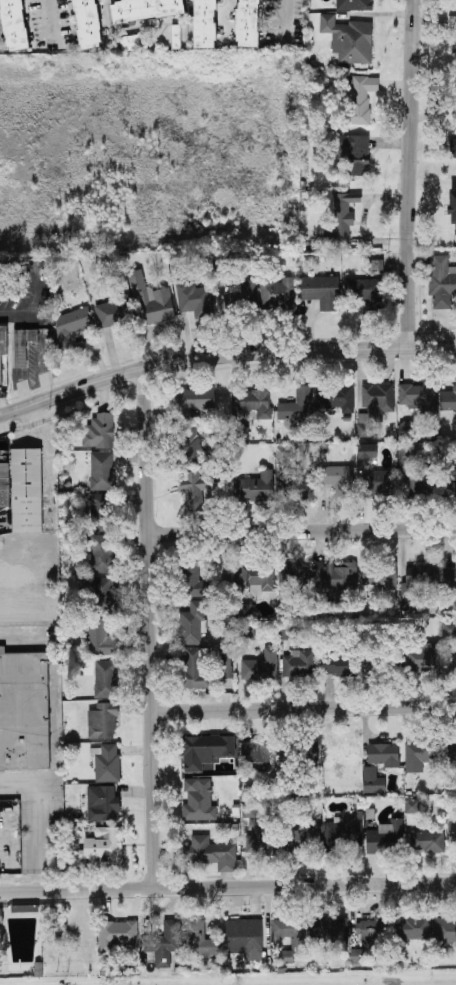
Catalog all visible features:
building: (354, 5)
building: (145, 10)
road: (51, 21)
road: (286, 21)
building: (248, 23)
building: (87, 24)
building: (204, 24)
building: (14, 25)
building: (349, 40)
building: (130, 43)
building: (454, 55)
building: (362, 98)
building: (455, 113)
building: (356, 153)
building: (455, 159)
road: (412, 175)
building: (340, 217)
building: (442, 282)
building: (372, 284)
building: (322, 292)
building: (278, 293)
building: (241, 294)
building: (152, 301)
building: (194, 301)
building: (114, 312)
road: (20, 314)
building: (71, 327)
building: (23, 346)
building: (3, 348)
road: (223, 356)
building: (335, 397)
building: (416, 397)
building: (196, 399)
building: (448, 400)
building: (254, 405)
building: (297, 405)
building: (374, 407)
building: (405, 430)
building: (98, 432)
building: (243, 434)
building: (191, 446)
building: (413, 449)
building: (367, 451)
building: (105, 469)
building: (4, 479)
building: (338, 480)
building: (416, 481)
building: (302, 485)
building: (378, 485)
building: (450, 487)
building: (258, 488)
building: (193, 489)
building: (26, 491)
building: (102, 512)
road: (303, 533)
building: (102, 554)
building: (292, 576)
building: (335, 577)
building: (378, 577)
building: (450, 577)
building: (259, 578)
building: (419, 580)
building: (195, 582)
building: (104, 596)
building: (245, 609)
building: (192, 624)
building: (449, 629)
road: (151, 630)
building: (247, 633)
building: (101, 639)
building: (422, 659)
building: (299, 664)
building: (337, 665)
building: (453, 665)
building: (226, 666)
building: (261, 666)
building: (196, 668)
building: (106, 679)
road: (304, 709)
building: (24, 711)
building: (102, 721)
building: (451, 750)
building: (206, 751)
building: (343, 755)
building: (383, 755)
building: (419, 755)
building: (258, 756)
building: (309, 756)
building: (107, 764)
building: (198, 800)
building: (102, 804)
building: (411, 806)
building: (256, 834)
building: (452, 834)
building: (343, 835)
building: (385, 838)
building: (305, 839)
building: (427, 842)
building: (101, 850)
road: (260, 861)
road: (228, 889)
building: (24, 911)
building: (1, 916)
building: (413, 928)
building: (372, 930)
building: (116, 934)
building: (329, 935)
building: (445, 935)
building: (245, 938)
building: (298, 939)
building: (201, 941)
building: (164, 943)
building: (356, 957)

